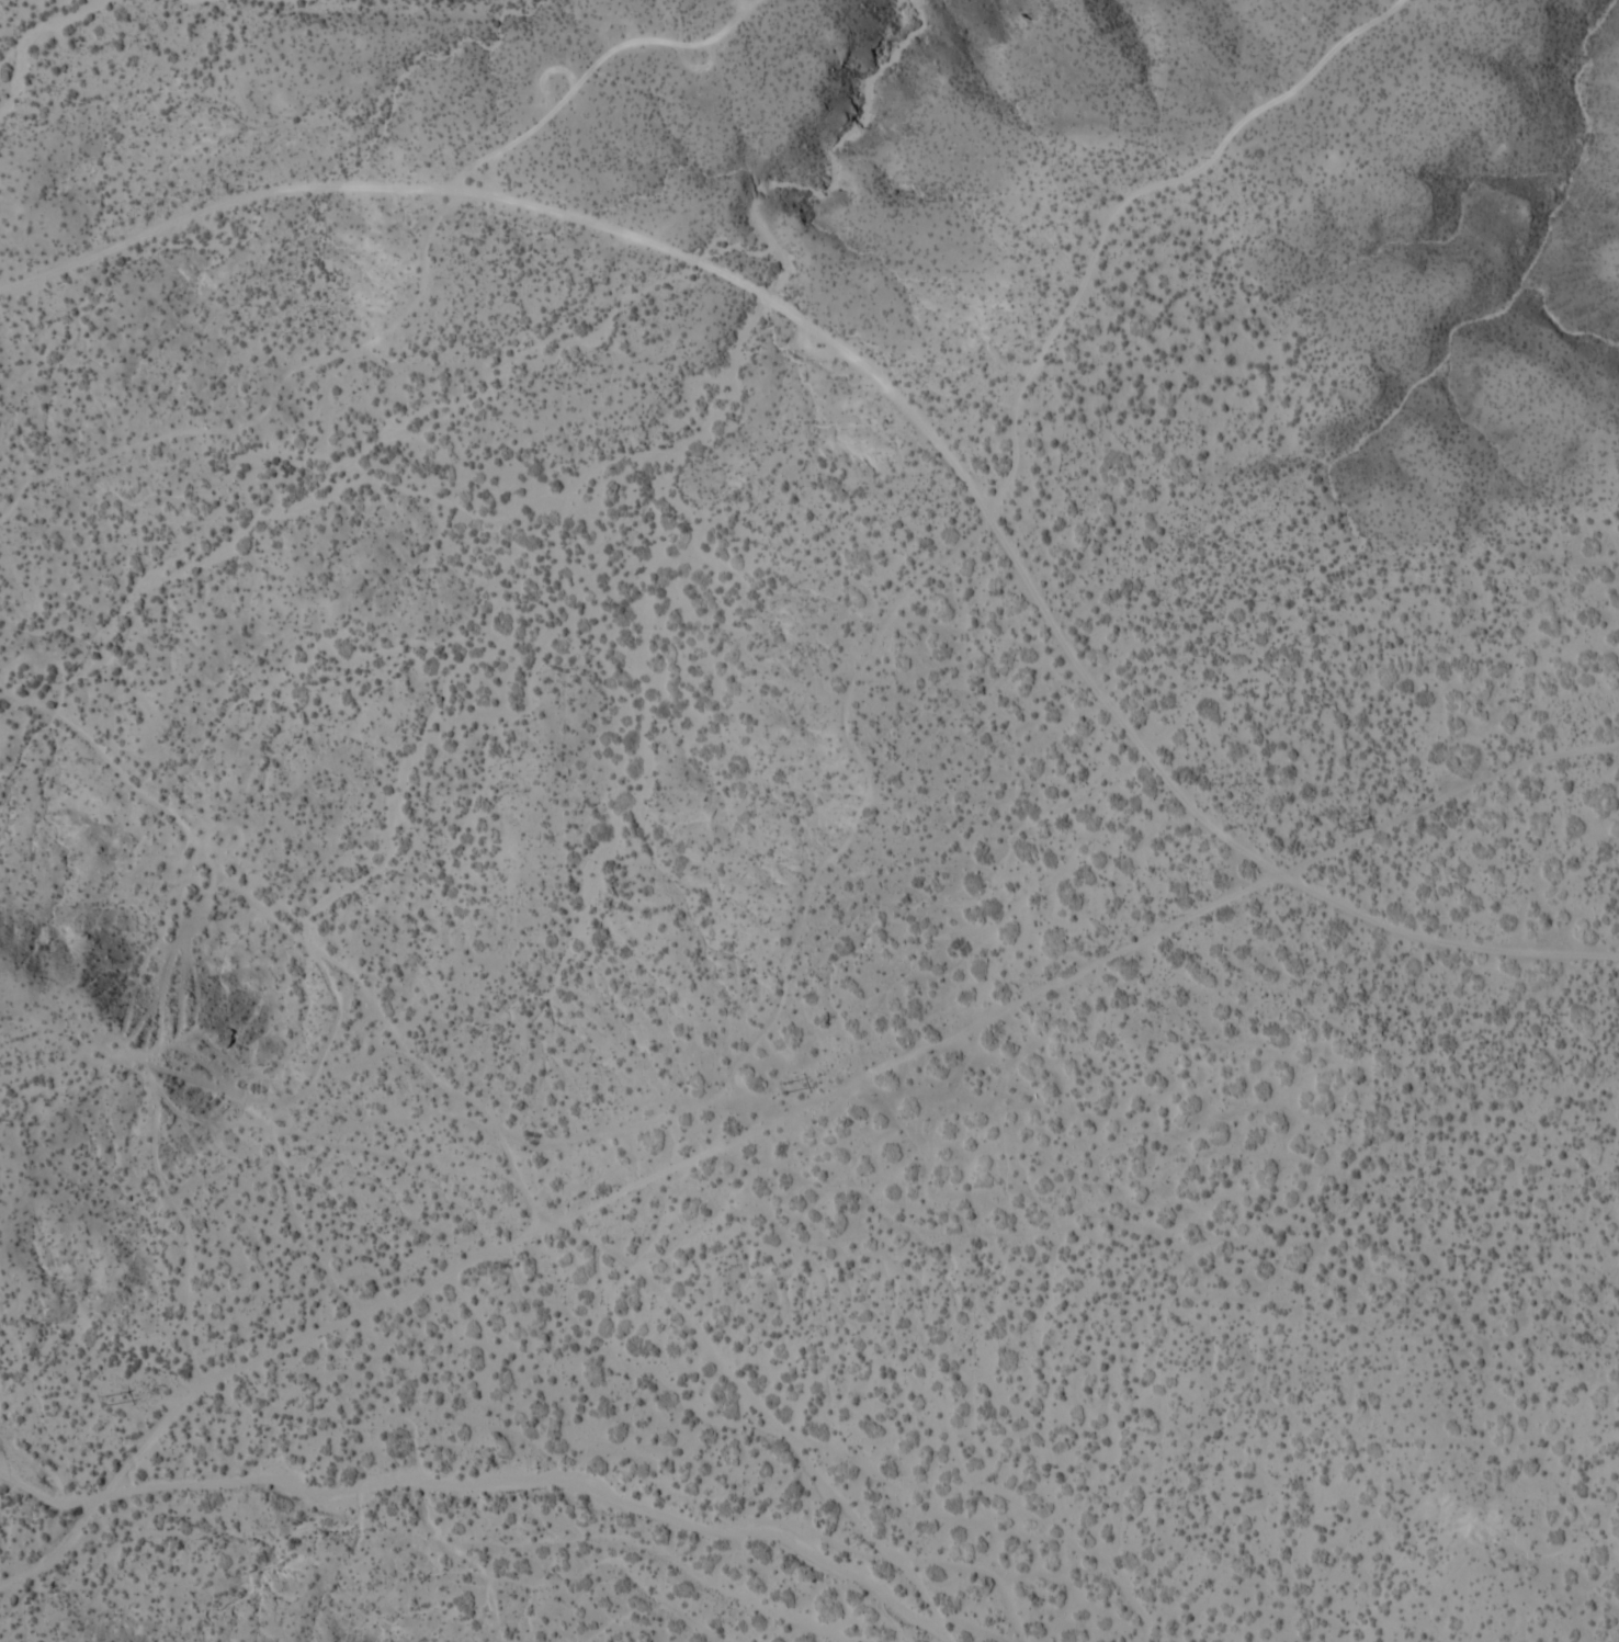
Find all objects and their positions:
building: (152, 106)
road: (1119, 201)
road: (895, 405)
power tower: (1349, 831)
road: (1097, 983)
power tower: (785, 1091)
road: (282, 1390)
power tower: (106, 1404)

